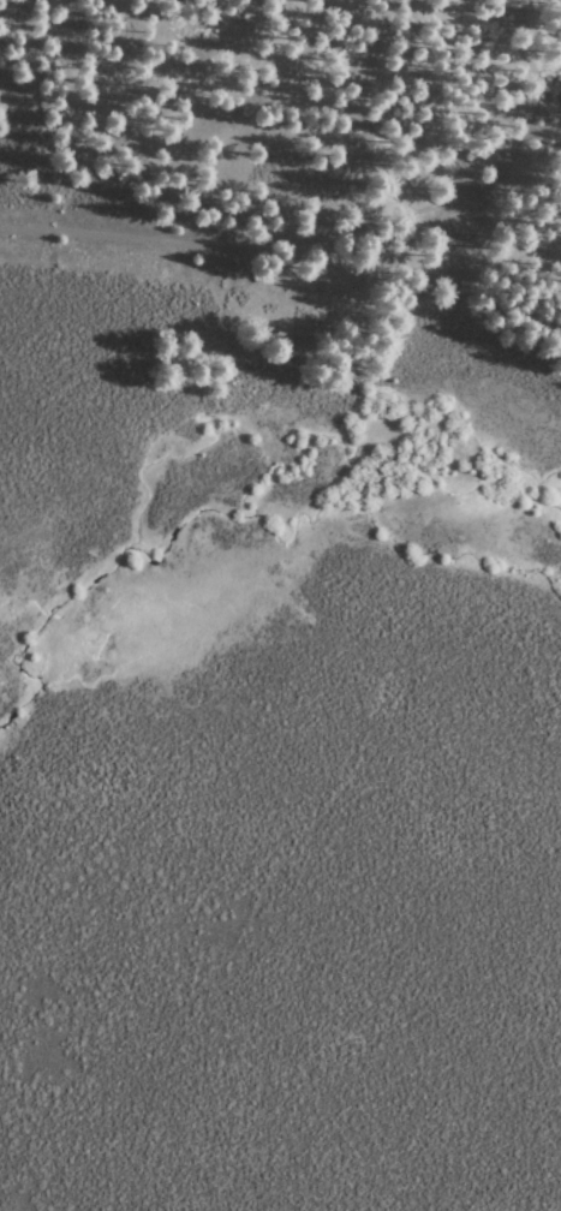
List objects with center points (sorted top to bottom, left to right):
road: (217, 144)
road: (410, 205)
road: (120, 233)
road: (362, 329)

